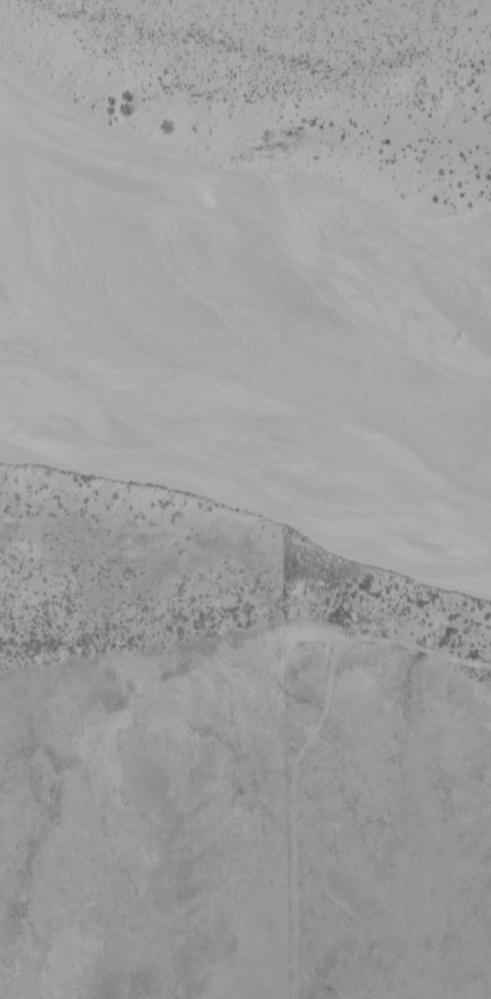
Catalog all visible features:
river: (251, 495)

